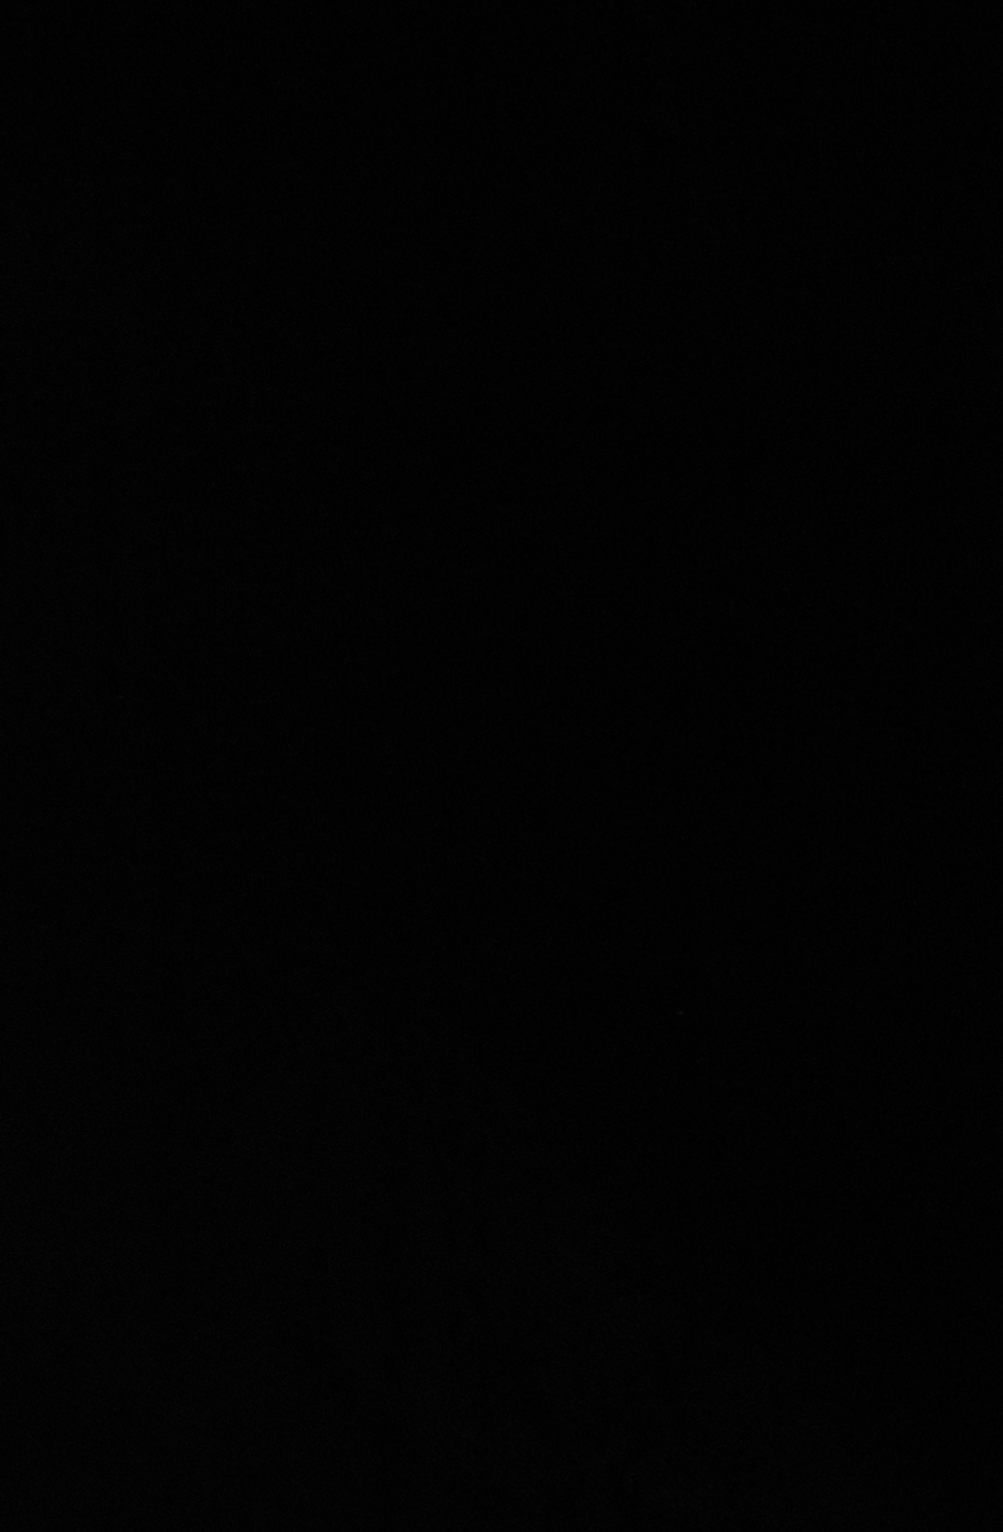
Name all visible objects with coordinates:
river: (42, 1397)

